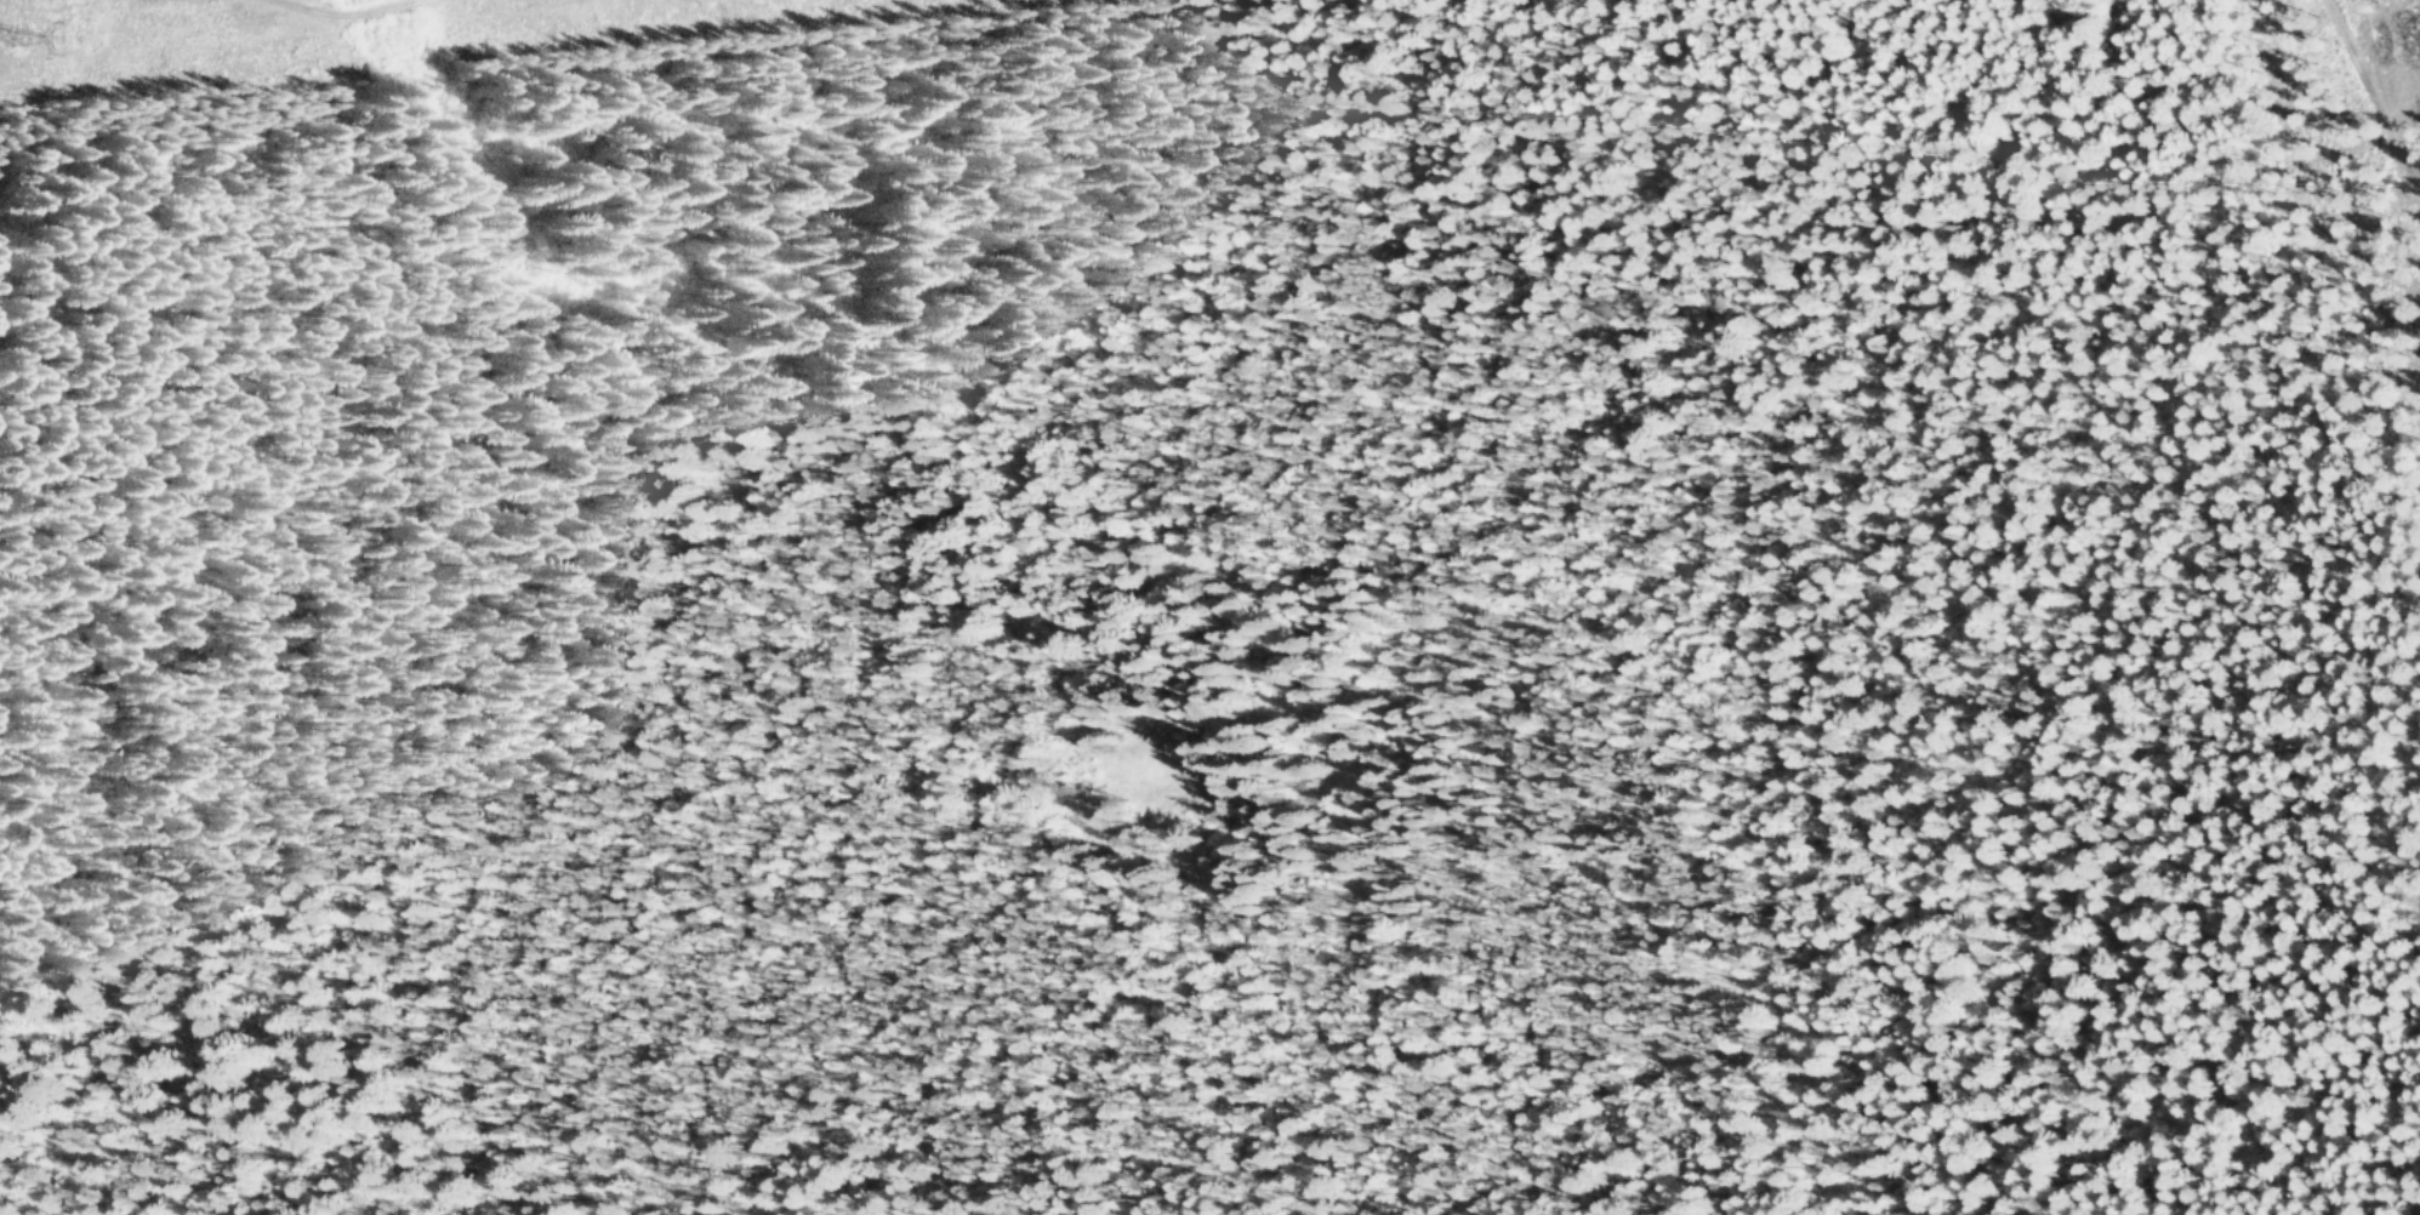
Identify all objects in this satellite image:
road: (334, 7)
power tower: (11, 34)

